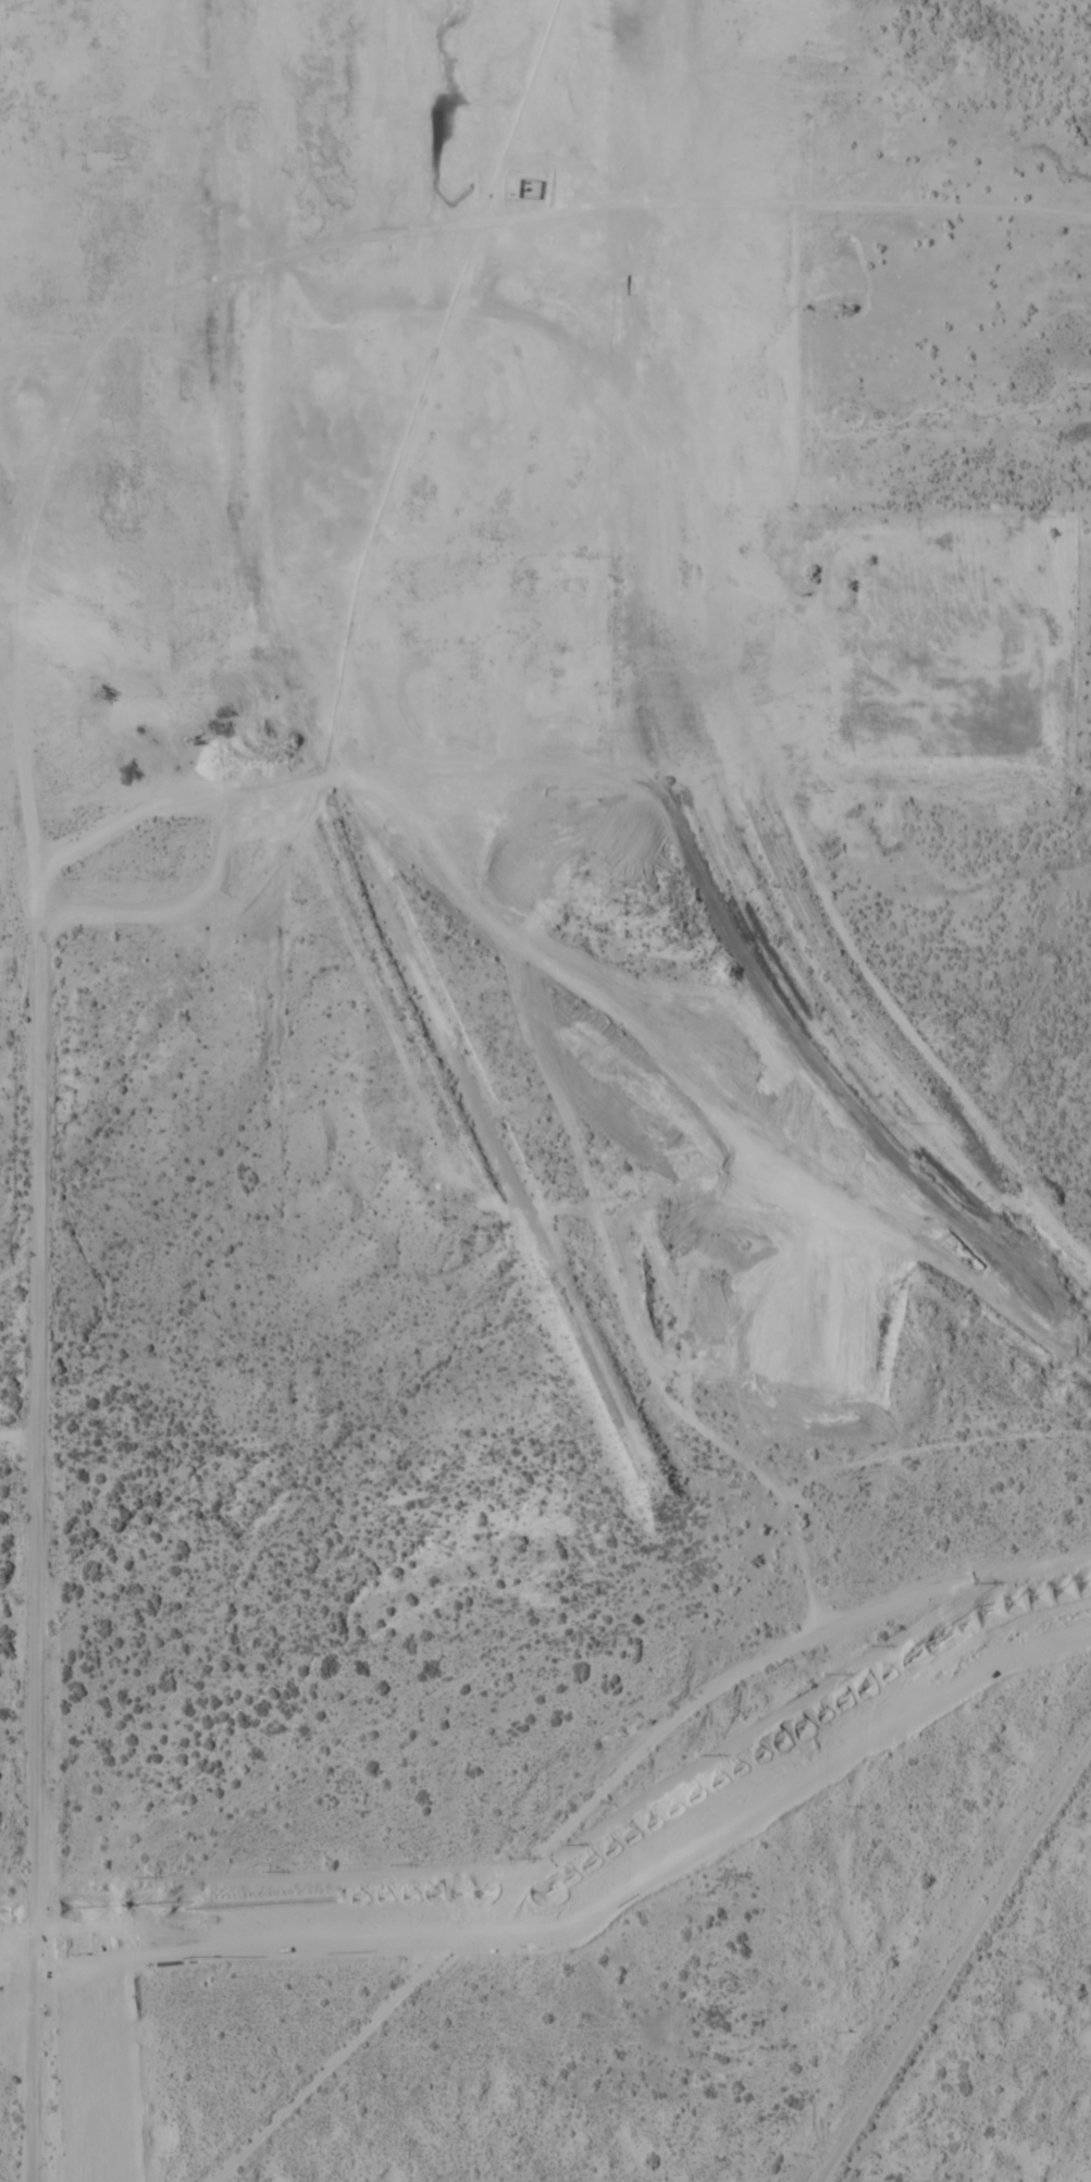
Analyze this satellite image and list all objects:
road: (14, 702)
railway: (689, 718)
railway: (687, 1082)
road: (18, 1439)
road: (37, 1456)
road: (603, 1789)
road: (955, 1960)

